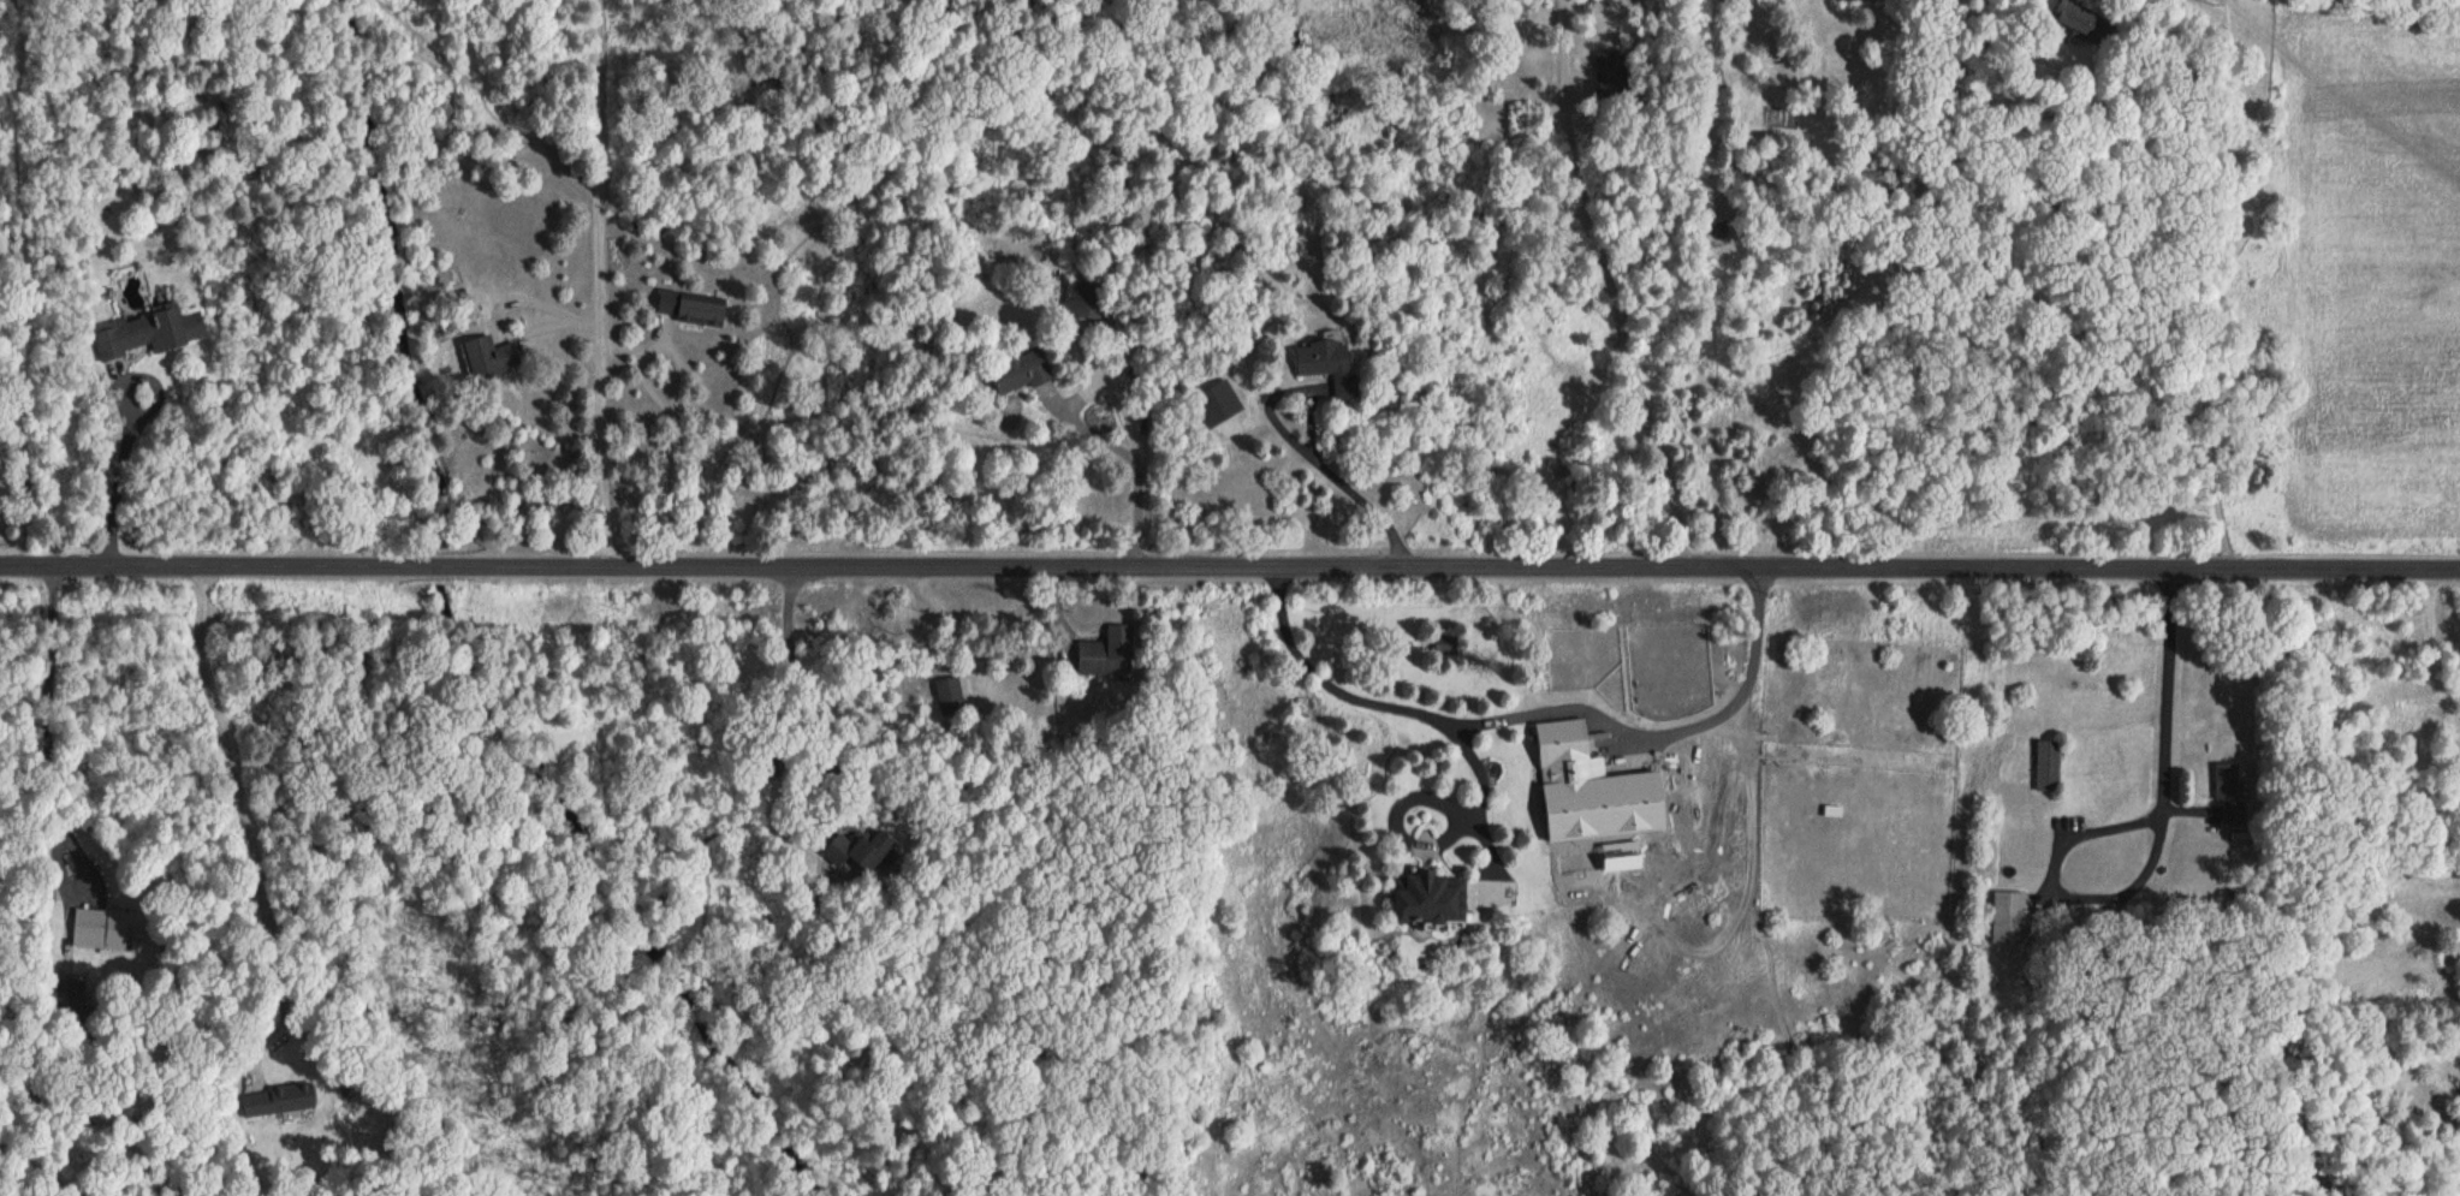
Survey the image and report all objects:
building: (1855, 0)
building: (2081, 16)
building: (1609, 67)
road: (599, 282)
road: (1888, 282)
road: (1609, 286)
building: (1085, 299)
building: (691, 307)
building: (148, 332)
building: (482, 356)
building: (1333, 364)
building: (1021, 371)
road: (1300, 442)
road: (1134, 459)
road: (118, 465)
road: (101, 564)
road: (405, 565)
road: (1532, 569)
building: (1106, 651)
building: (947, 694)
road: (1539, 710)
road: (830, 737)
building: (1565, 742)
building: (2051, 763)
road: (55, 766)
road: (1481, 795)
road: (1468, 816)
road: (245, 820)
road: (1415, 841)
building: (858, 847)
road: (2156, 847)
building: (1431, 897)
building: (2012, 916)
building: (267, 1101)

